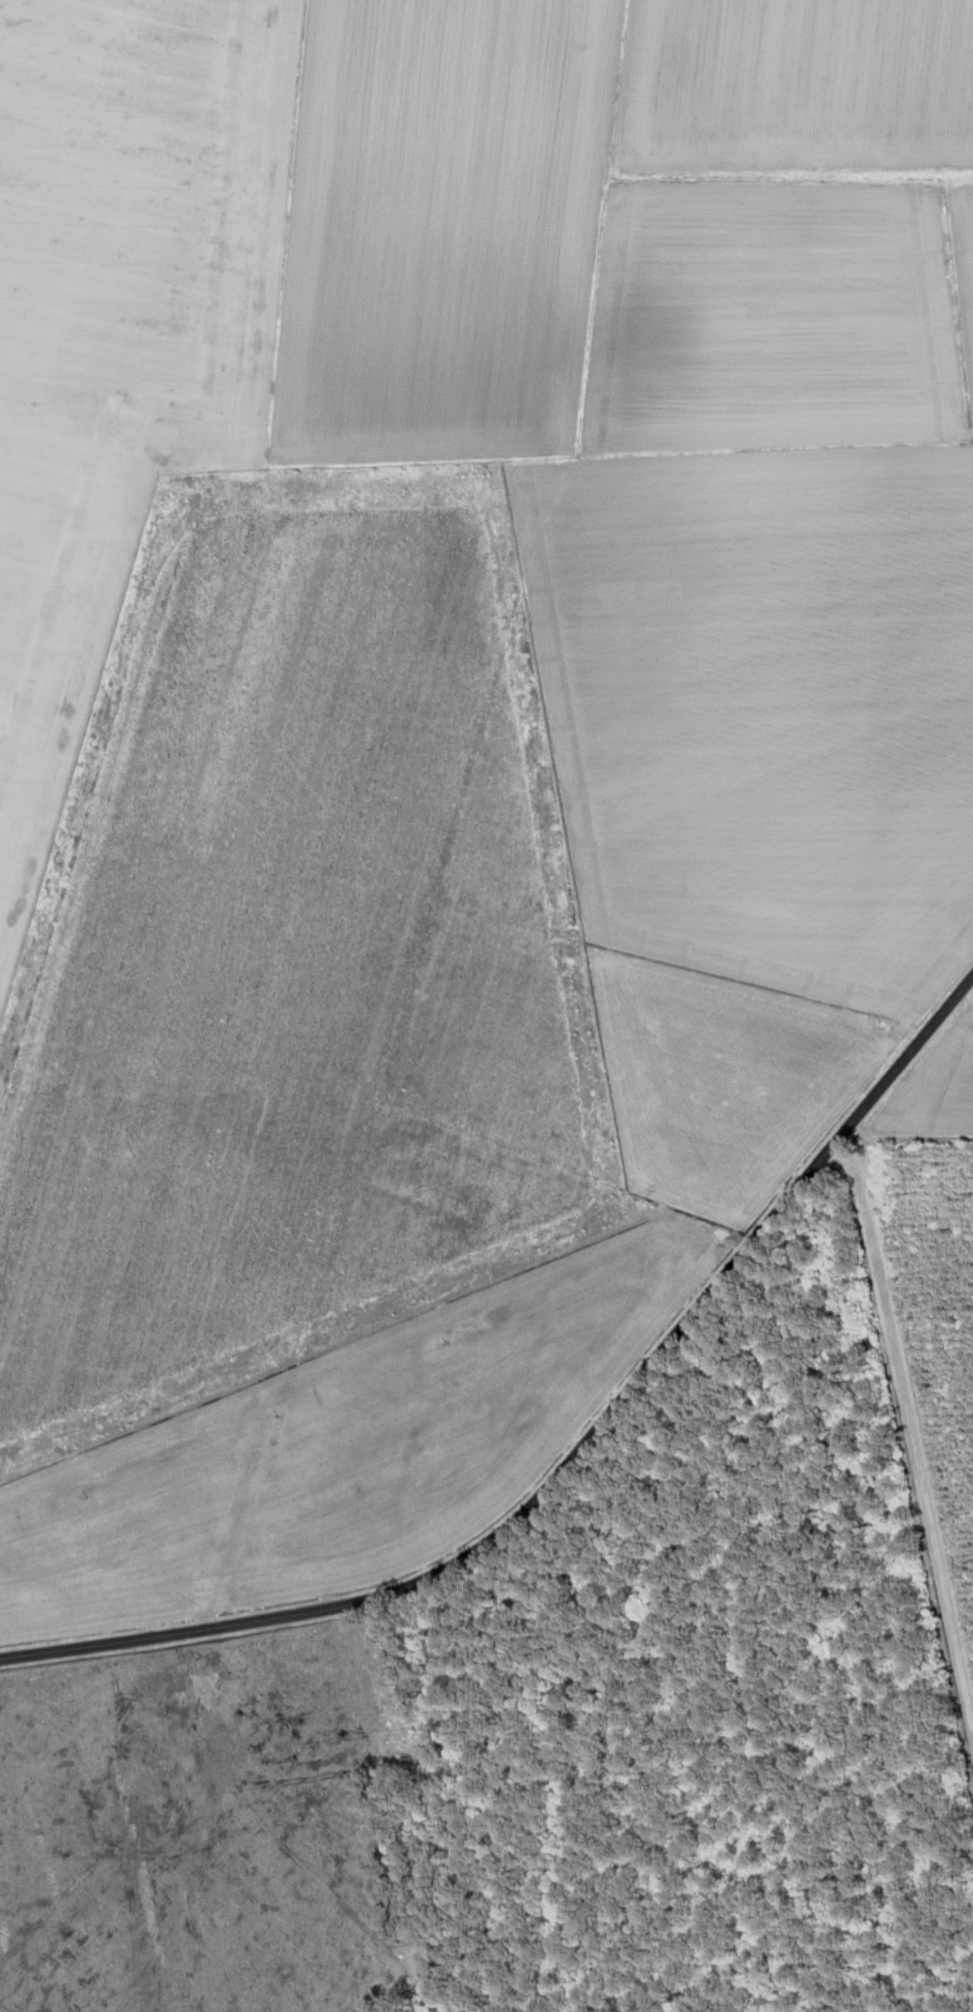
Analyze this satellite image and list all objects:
road: (573, 1459)
road: (909, 1497)

